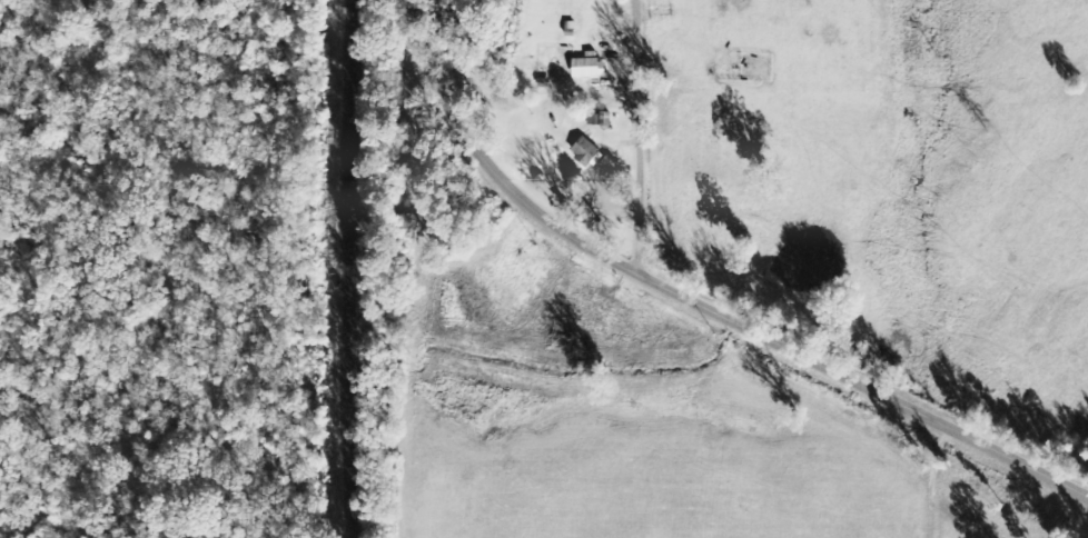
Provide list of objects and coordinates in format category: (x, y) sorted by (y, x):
building: (586, 68)
road: (640, 137)
building: (592, 156)
railway: (356, 269)
road: (700, 303)

